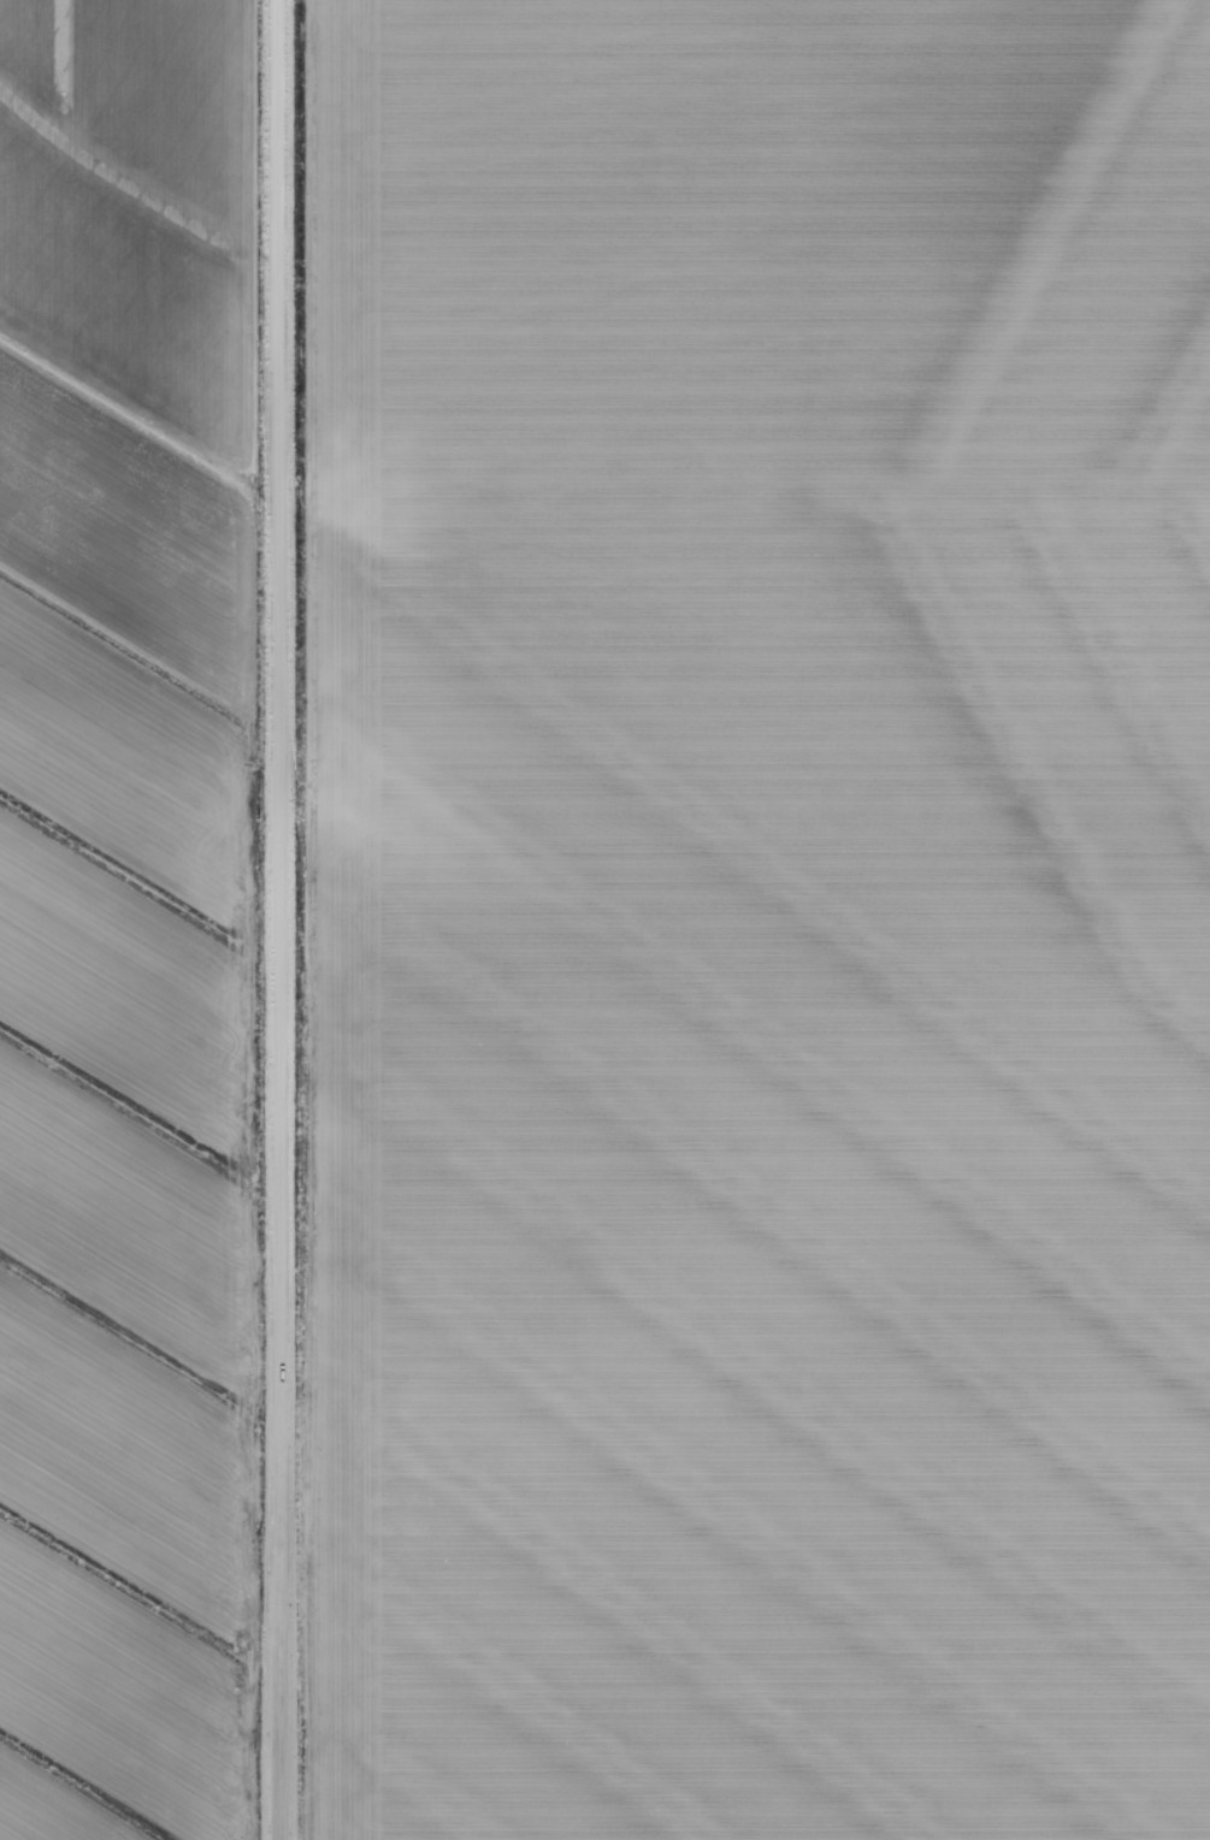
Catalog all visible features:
road: (282, 919)

